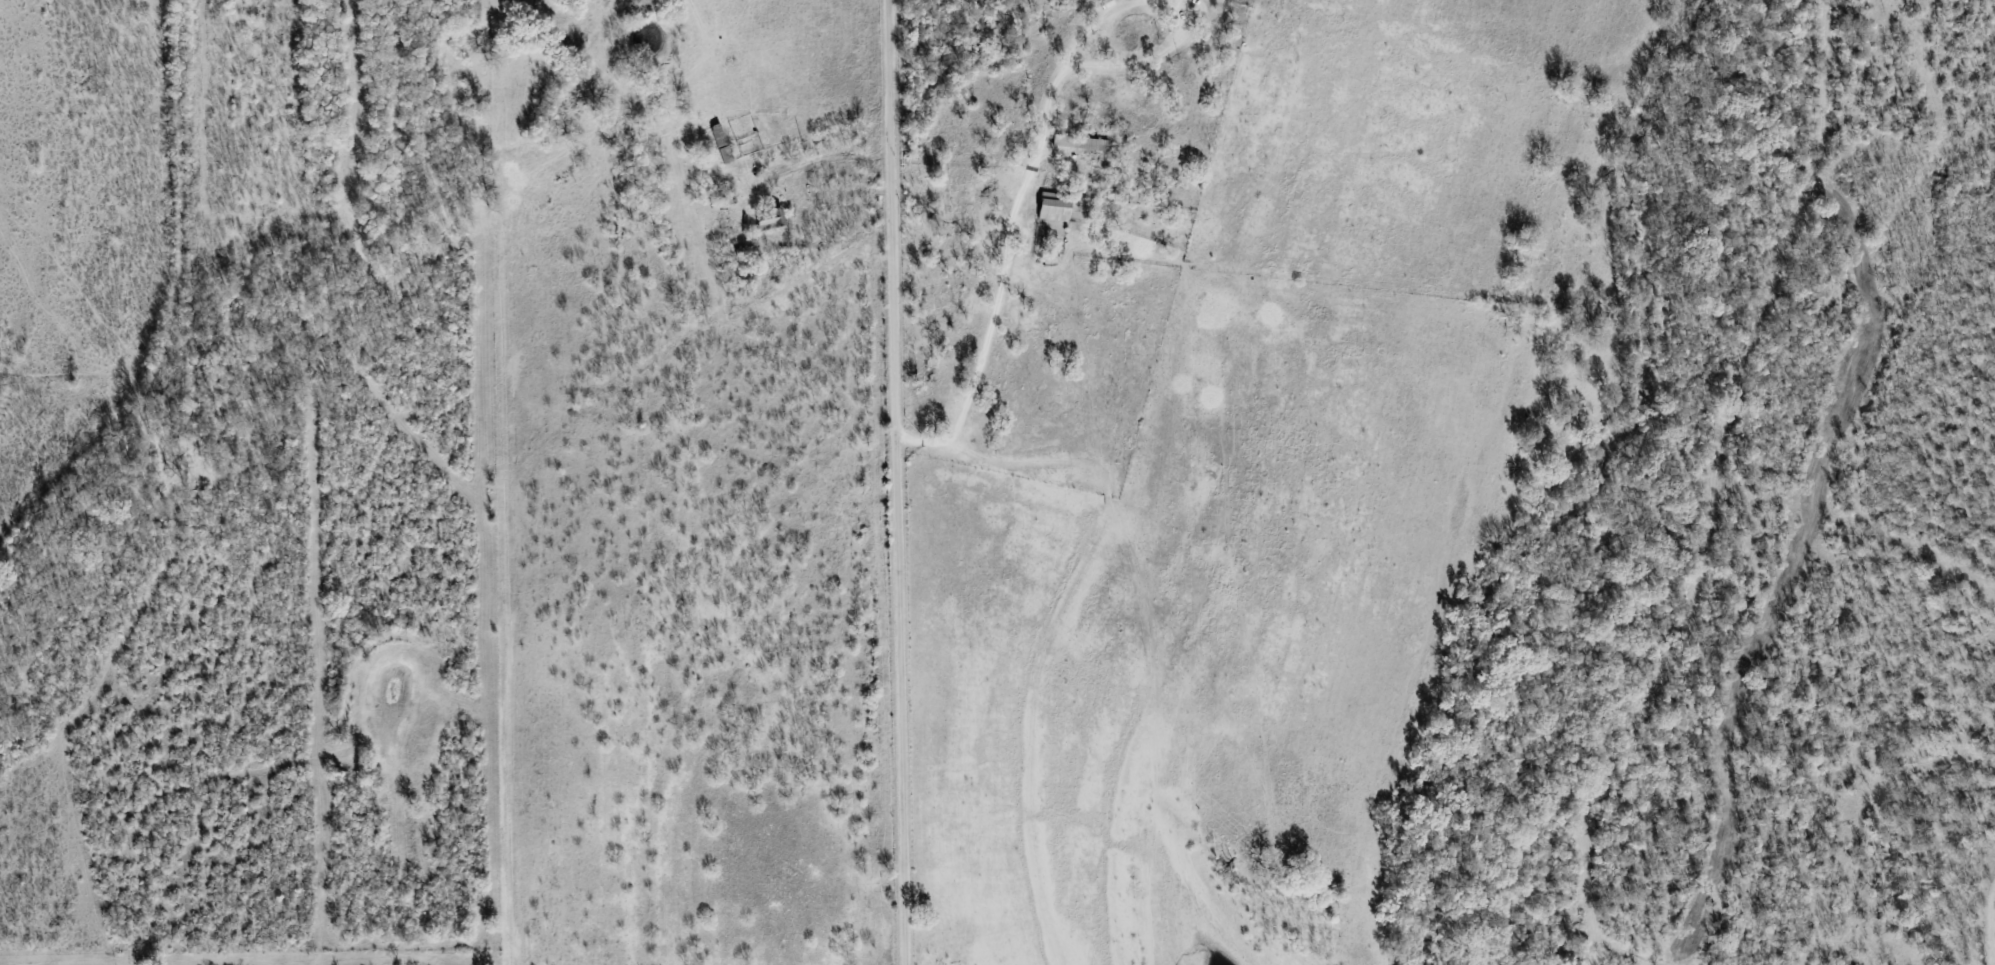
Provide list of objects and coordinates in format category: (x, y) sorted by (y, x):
road: (1088, 26)
road: (1144, 57)
building: (1080, 143)
building: (721, 144)
building: (1053, 208)
building: (770, 218)
road: (1000, 274)
road: (897, 482)
road: (1141, 565)

